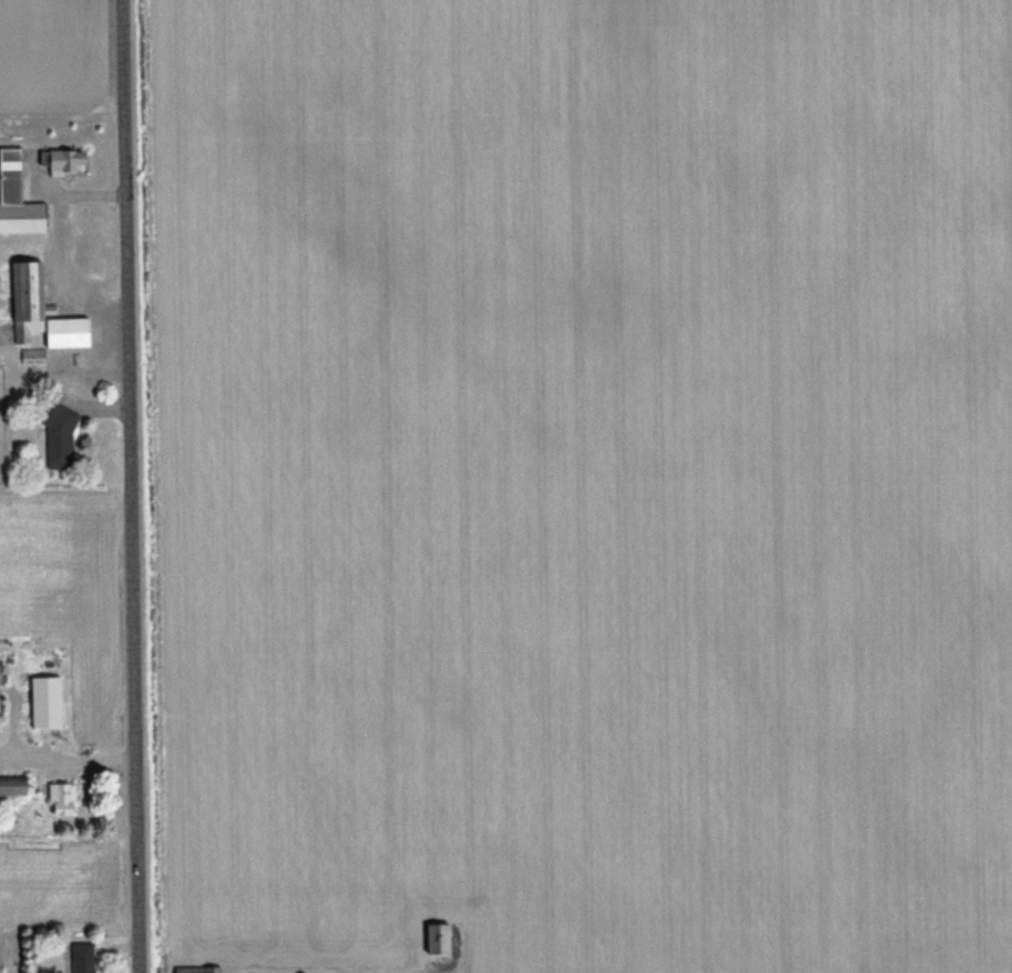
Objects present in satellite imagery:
building: (63, 161)
building: (16, 198)
building: (40, 311)
building: (58, 435)
road: (133, 486)
building: (44, 701)
road: (69, 755)
building: (59, 798)
building: (436, 937)
building: (81, 957)
road: (326, 968)
building: (196, 969)

